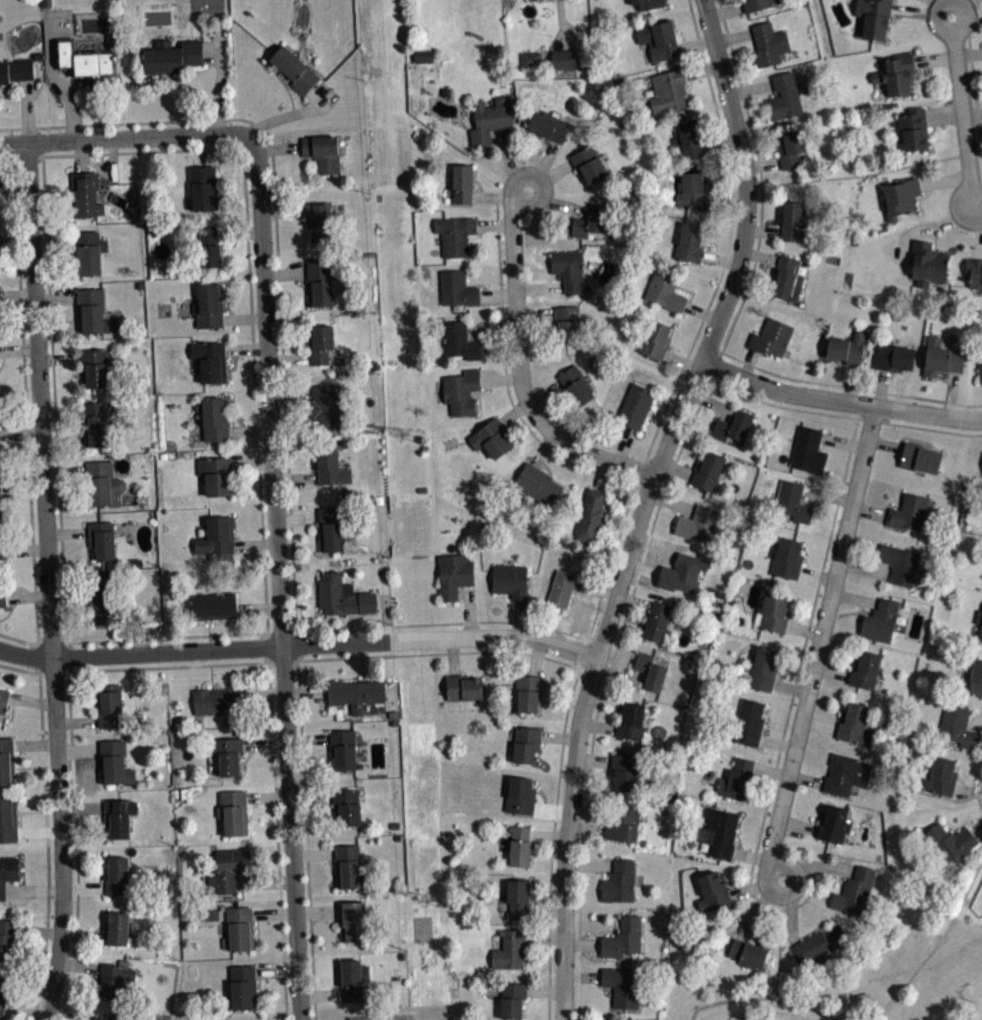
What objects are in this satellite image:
park: (202, 0)
building: (648, 3)
building: (757, 4)
building: (871, 18)
road: (561, 25)
building: (658, 39)
building: (768, 44)
road: (211, 48)
building: (172, 55)
building: (531, 58)
building: (84, 59)
building: (563, 59)
building: (426, 62)
building: (16, 69)
building: (295, 69)
building: (895, 73)
road: (221, 80)
building: (668, 91)
building: (445, 92)
building: (784, 96)
road: (962, 108)
road: (296, 114)
building: (490, 119)
building: (549, 125)
building: (913, 128)
building: (688, 138)
road: (121, 139)
building: (790, 148)
building: (323, 152)
road: (7, 157)
building: (588, 164)
road: (858, 174)
building: (462, 183)
road: (15, 185)
building: (202, 188)
building: (692, 191)
building: (87, 195)
building: (900, 197)
road: (978, 202)
building: (591, 220)
building: (319, 221)
building: (793, 221)
building: (455, 235)
road: (16, 240)
building: (690, 242)
road: (726, 247)
building: (209, 248)
road: (277, 248)
building: (89, 251)
building: (928, 263)
building: (568, 270)
building: (974, 272)
building: (787, 279)
building: (320, 282)
building: (457, 288)
building: (665, 289)
road: (249, 290)
road: (17, 295)
building: (208, 306)
road: (740, 307)
building: (91, 312)
building: (567, 322)
building: (771, 337)
building: (655, 339)
building: (460, 341)
building: (321, 344)
building: (847, 348)
road: (18, 349)
building: (894, 357)
building: (941, 357)
building: (980, 357)
building: (210, 361)
building: (94, 368)
road: (522, 368)
road: (505, 373)
building: (576, 385)
building: (461, 392)
road: (25, 399)
road: (839, 400)
building: (325, 406)
building: (636, 406)
building: (213, 418)
building: (96, 423)
road: (913, 425)
building: (732, 426)
road: (20, 432)
road: (976, 433)
power tower: (401, 435)
building: (491, 438)
building: (0, 448)
building: (808, 449)
building: (920, 457)
building: (330, 467)
building: (708, 470)
building: (216, 475)
building: (105, 484)
building: (539, 484)
building: (0, 489)
road: (59, 499)
building: (792, 501)
road: (642, 502)
building: (909, 513)
building: (590, 515)
building: (698, 524)
building: (333, 531)
building: (217, 538)
building: (101, 540)
building: (1, 541)
building: (787, 558)
road: (610, 561)
building: (899, 563)
building: (687, 569)
road: (279, 573)
building: (454, 574)
building: (509, 580)
road: (48, 582)
building: (565, 587)
road: (27, 595)
building: (342, 595)
road: (631, 596)
building: (2, 597)
building: (103, 599)
building: (213, 605)
building: (774, 613)
building: (880, 620)
building: (656, 621)
building: (979, 621)
road: (444, 623)
road: (51, 635)
road: (17, 638)
building: (981, 640)
road: (297, 645)
road: (820, 645)
road: (583, 653)
road: (70, 656)
road: (31, 657)
building: (763, 668)
building: (864, 668)
road: (18, 669)
building: (650, 671)
building: (976, 678)
building: (463, 687)
building: (528, 692)
building: (355, 693)
building: (3, 699)
road: (299, 699)
road: (30, 700)
building: (217, 700)
building: (109, 704)
building: (631, 721)
building: (750, 721)
building: (855, 723)
road: (785, 724)
building: (958, 727)
road: (272, 740)
building: (526, 744)
building: (343, 748)
building: (229, 755)
building: (7, 761)
building: (114, 762)
building: (626, 768)
building: (846, 774)
building: (941, 776)
building: (735, 778)
road: (977, 791)
building: (520, 794)
building: (346, 807)
building: (233, 812)
building: (118, 815)
building: (8, 819)
building: (621, 823)
building: (834, 823)
building: (721, 832)
building: (951, 841)
road: (552, 842)
road: (76, 845)
building: (519, 845)
road: (47, 846)
building: (349, 866)
building: (228, 870)
building: (7, 872)
building: (119, 876)
building: (619, 881)
building: (855, 891)
building: (711, 893)
building: (517, 897)
power tower: (426, 906)
building: (353, 921)
building: (116, 928)
building: (239, 928)
building: (623, 938)
building: (8, 939)
road: (779, 939)
road: (939, 943)
building: (818, 946)
building: (509, 949)
building: (748, 952)
park: (875, 974)
building: (114, 978)
building: (354, 978)
building: (621, 986)
building: (243, 987)
building: (3, 993)
road: (578, 998)
road: (762, 998)
building: (512, 999)
building: (360, 1017)
building: (102, 1018)

